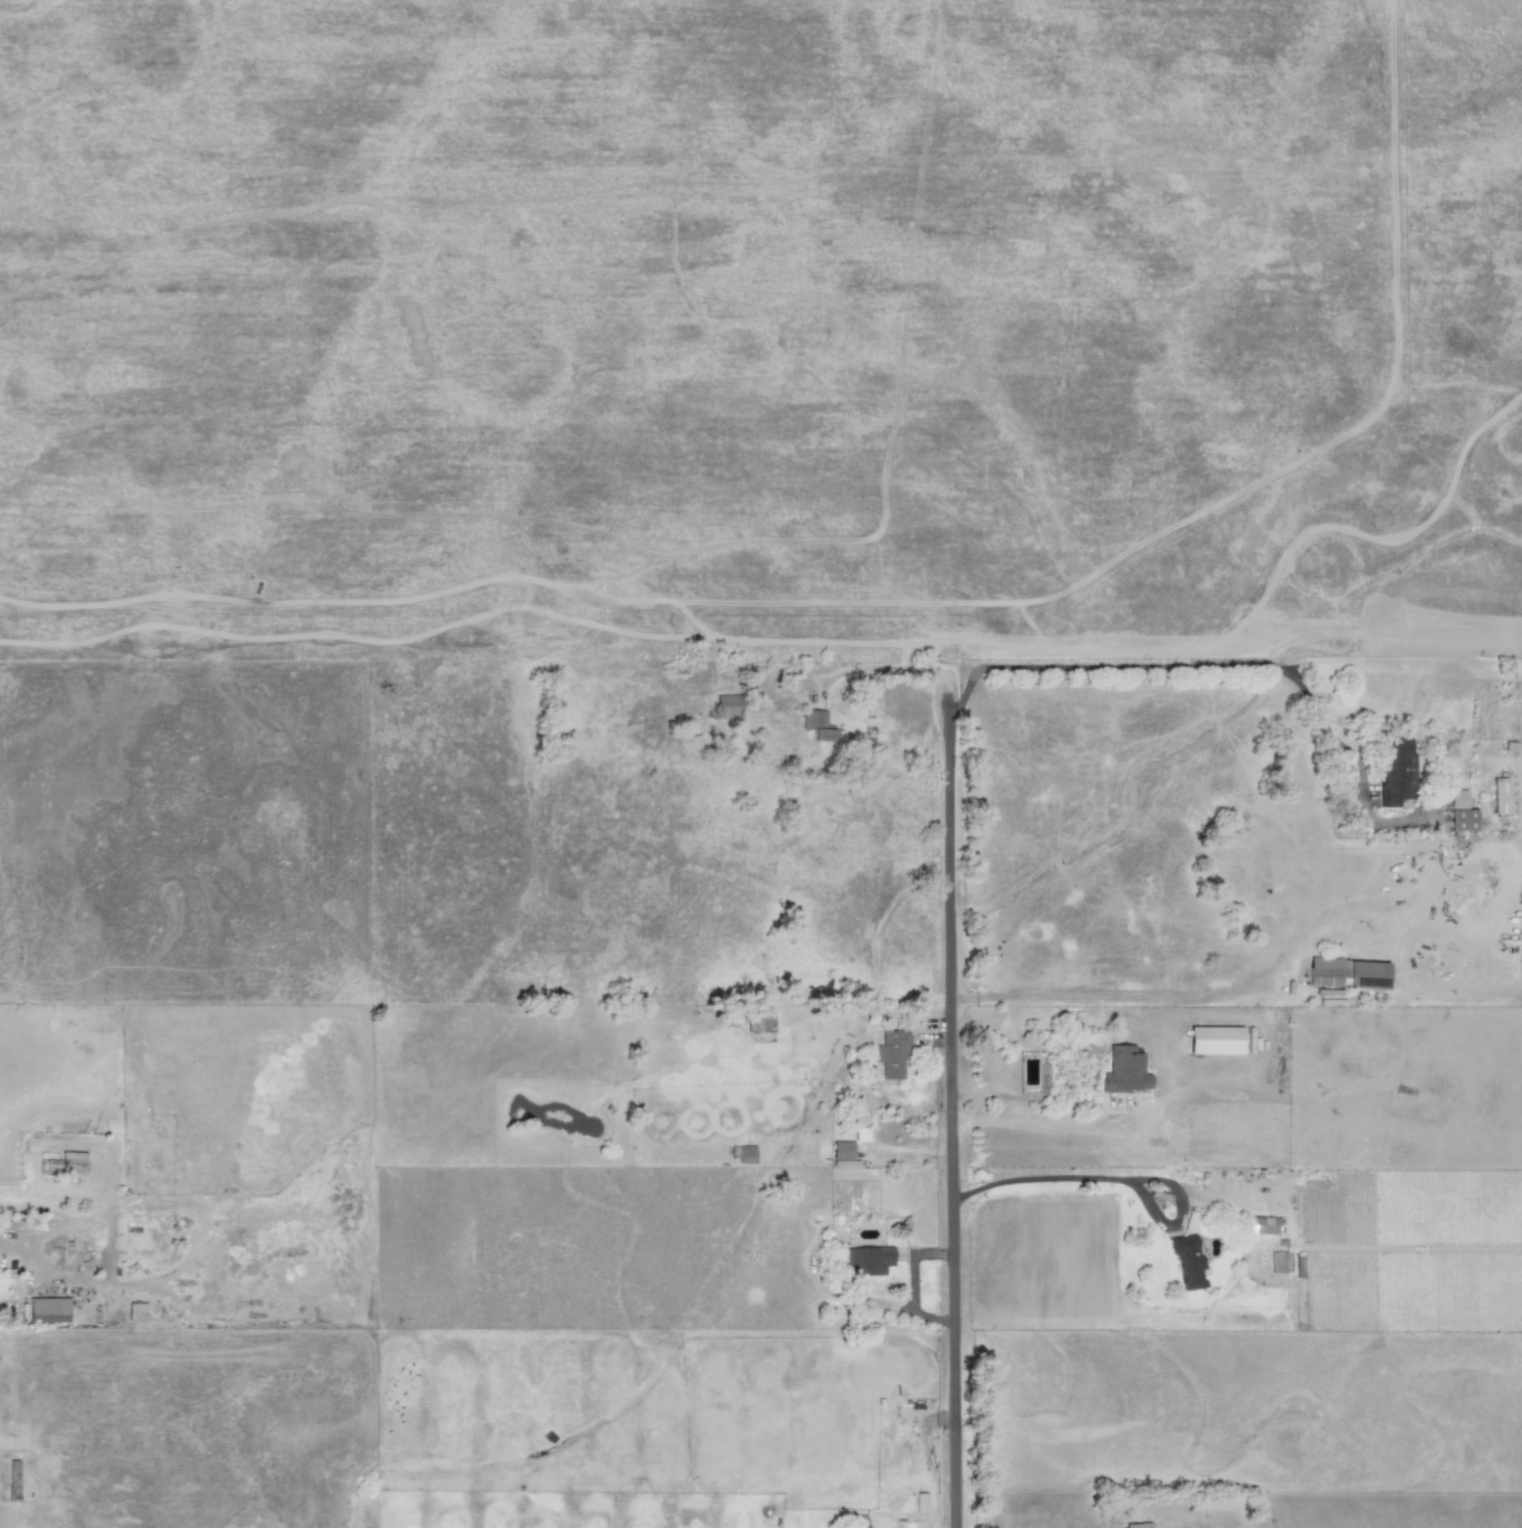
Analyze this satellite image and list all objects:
road: (1215, 663)
building: (728, 708)
building: (817, 725)
building: (1395, 771)
building: (1460, 812)
building: (1347, 973)
road: (1173, 997)
building: (760, 1022)
building: (1213, 1039)
building: (892, 1053)
building: (1124, 1070)
road: (1027, 1098)
road: (947, 1099)
road: (1017, 1110)
road: (1042, 1122)
building: (841, 1153)
building: (746, 1155)
building: (66, 1165)
road: (1118, 1179)
building: (1260, 1229)
road: (46, 1260)
building: (866, 1260)
building: (1186, 1261)
building: (1277, 1262)
road: (913, 1283)
building: (47, 1310)
building: (136, 1312)
building: (1134, 1526)

